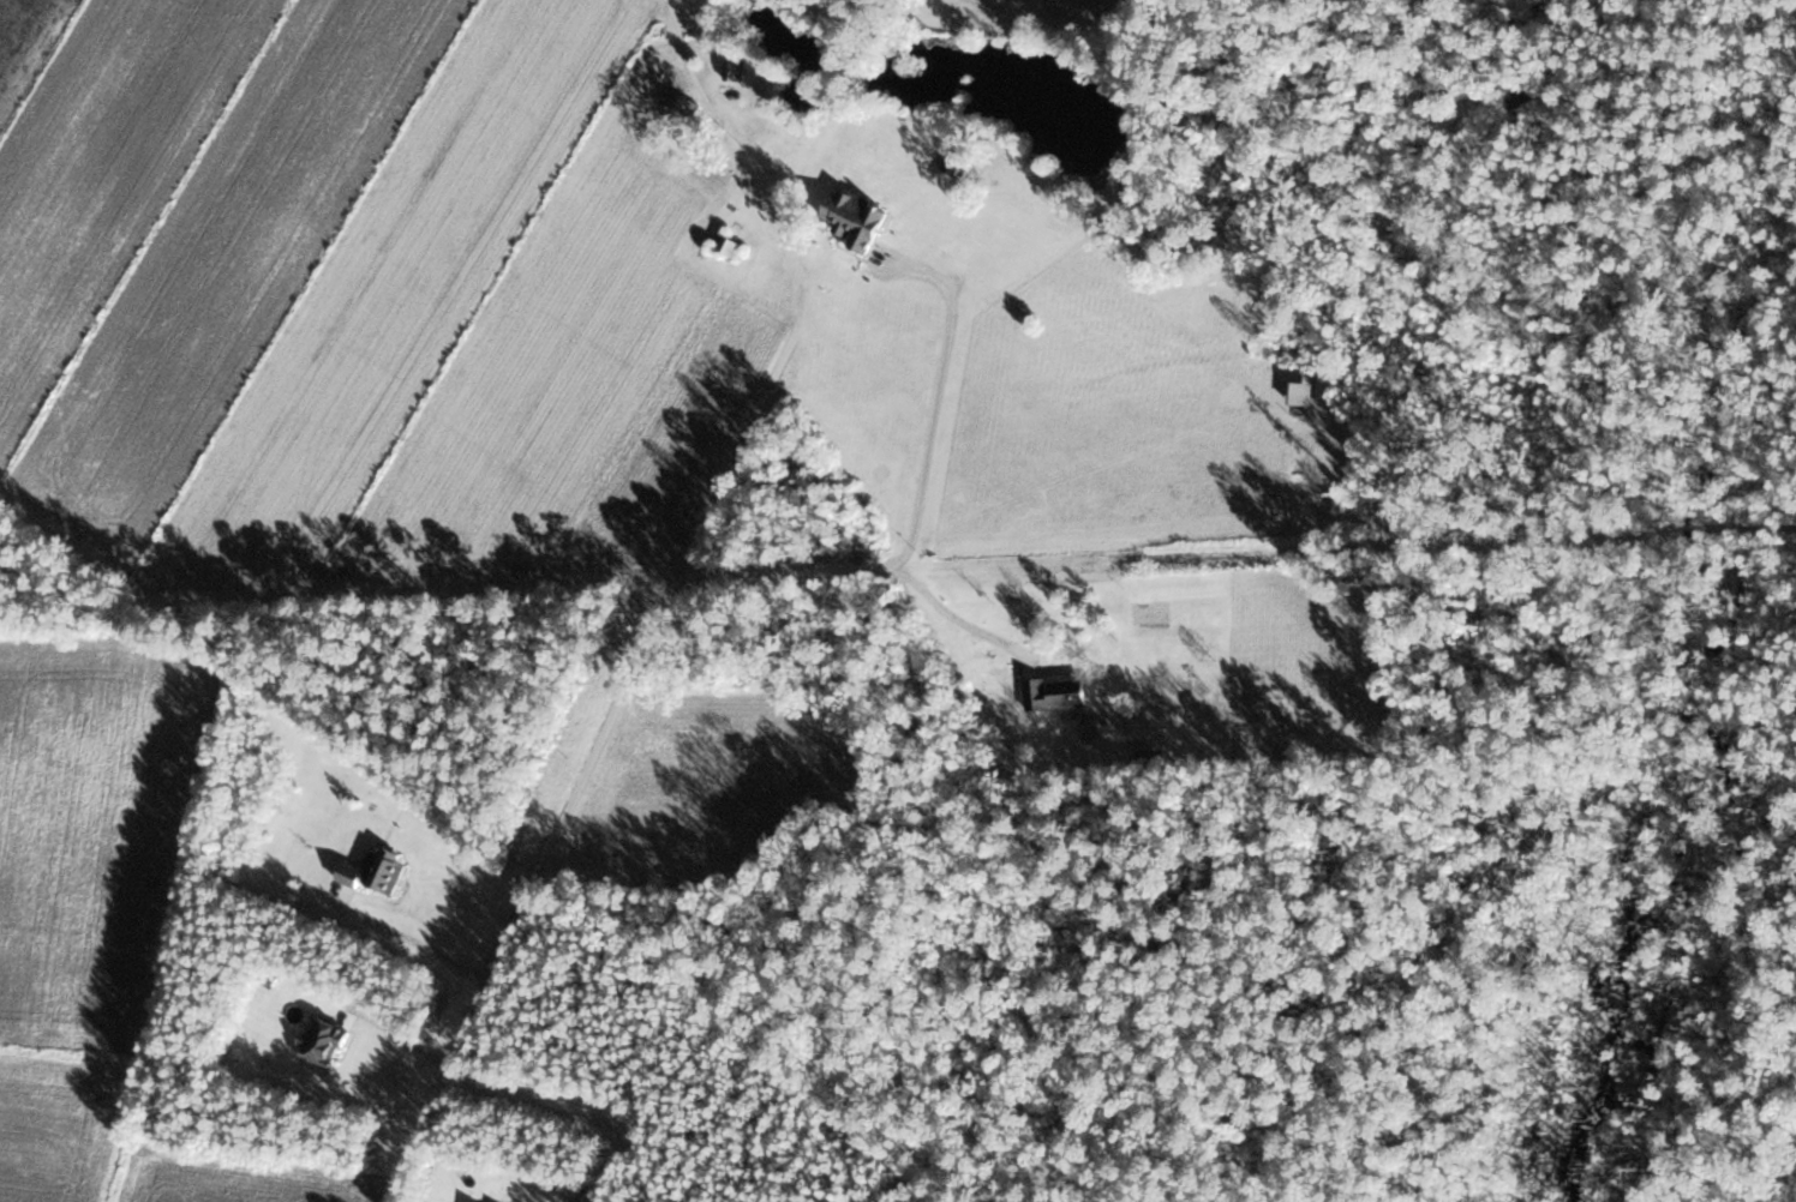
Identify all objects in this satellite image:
building: (734, 68)
building: (680, 101)
building: (852, 216)
building: (726, 244)
road: (649, 603)
building: (1053, 690)
building: (1150, 756)
building: (373, 871)
building: (321, 1039)

